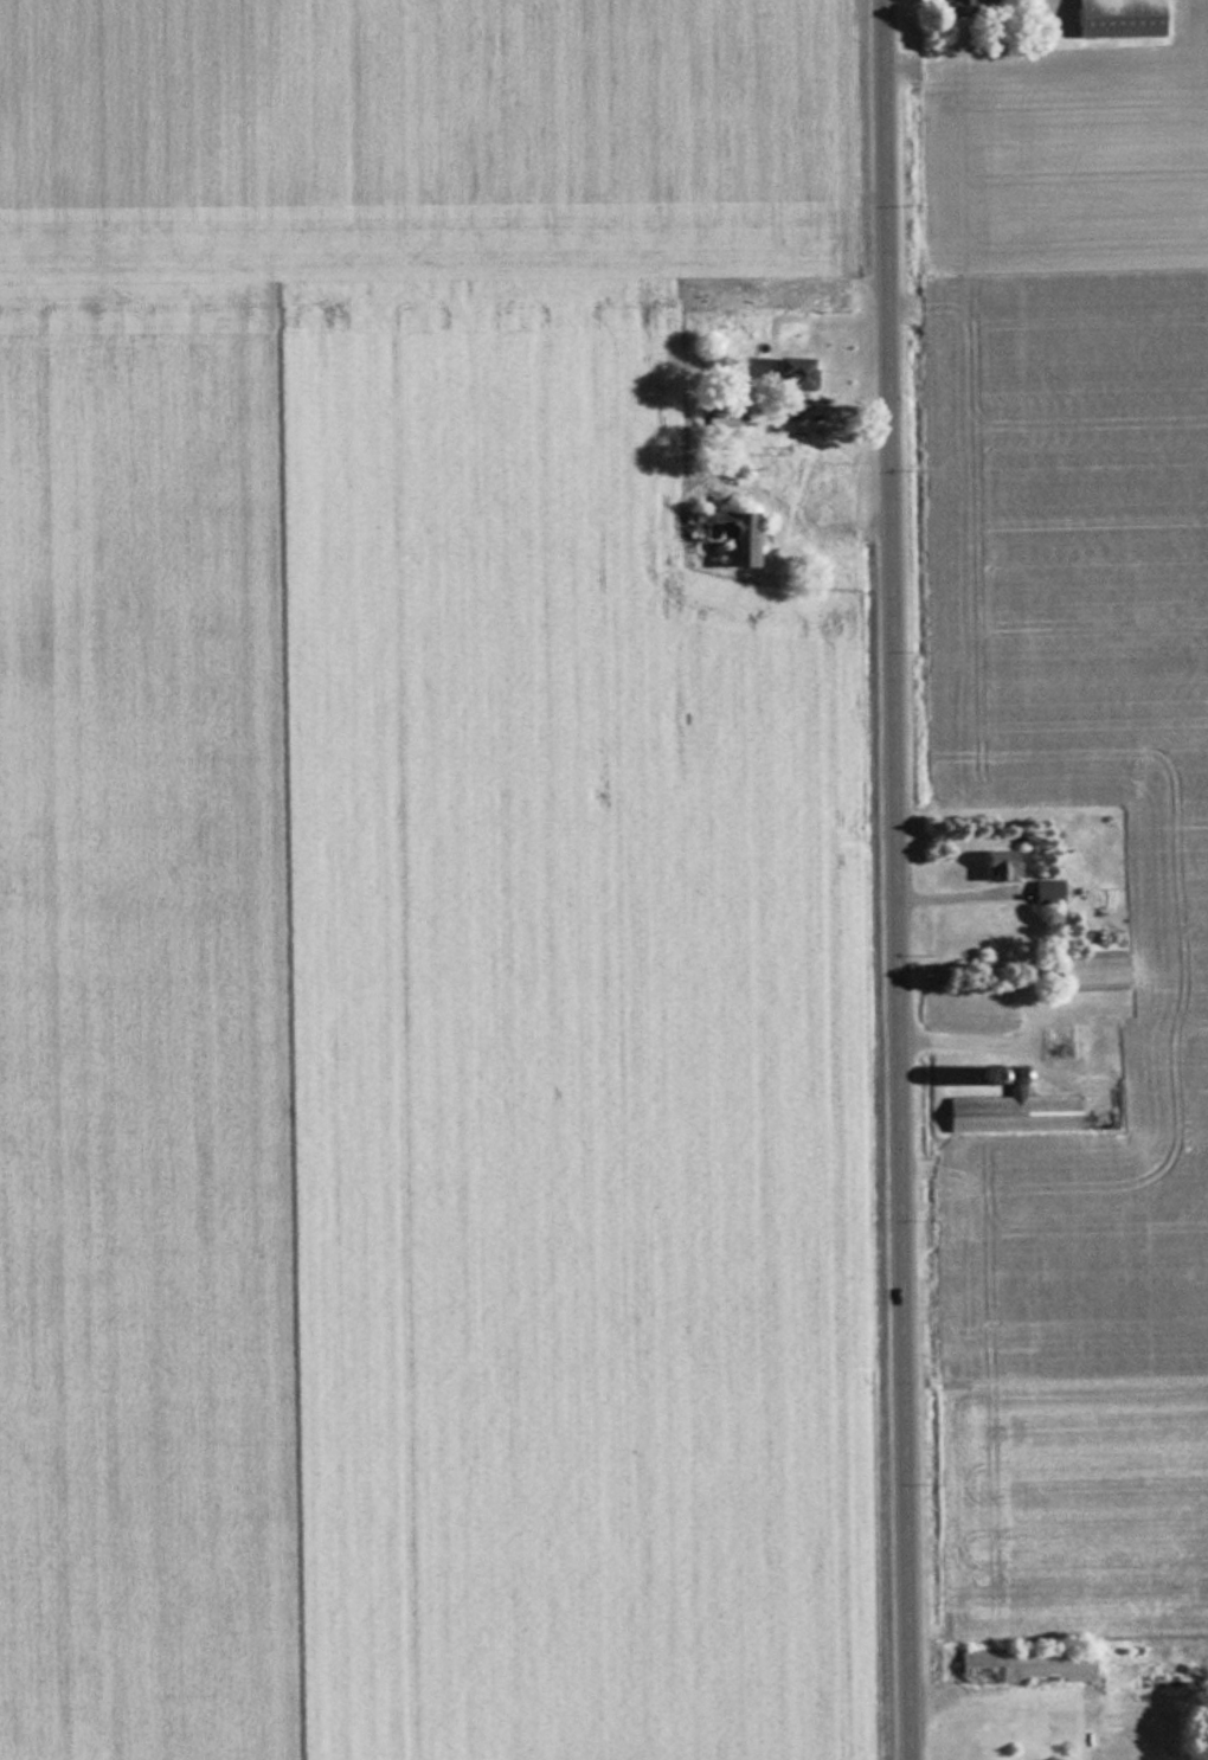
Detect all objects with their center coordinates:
building: (963, 6)
building: (1114, 18)
building: (789, 372)
building: (791, 407)
building: (722, 413)
building: (725, 534)
building: (996, 865)
road: (898, 880)
building: (1046, 891)
building: (1090, 971)
building: (1009, 1106)
building: (1024, 1664)

